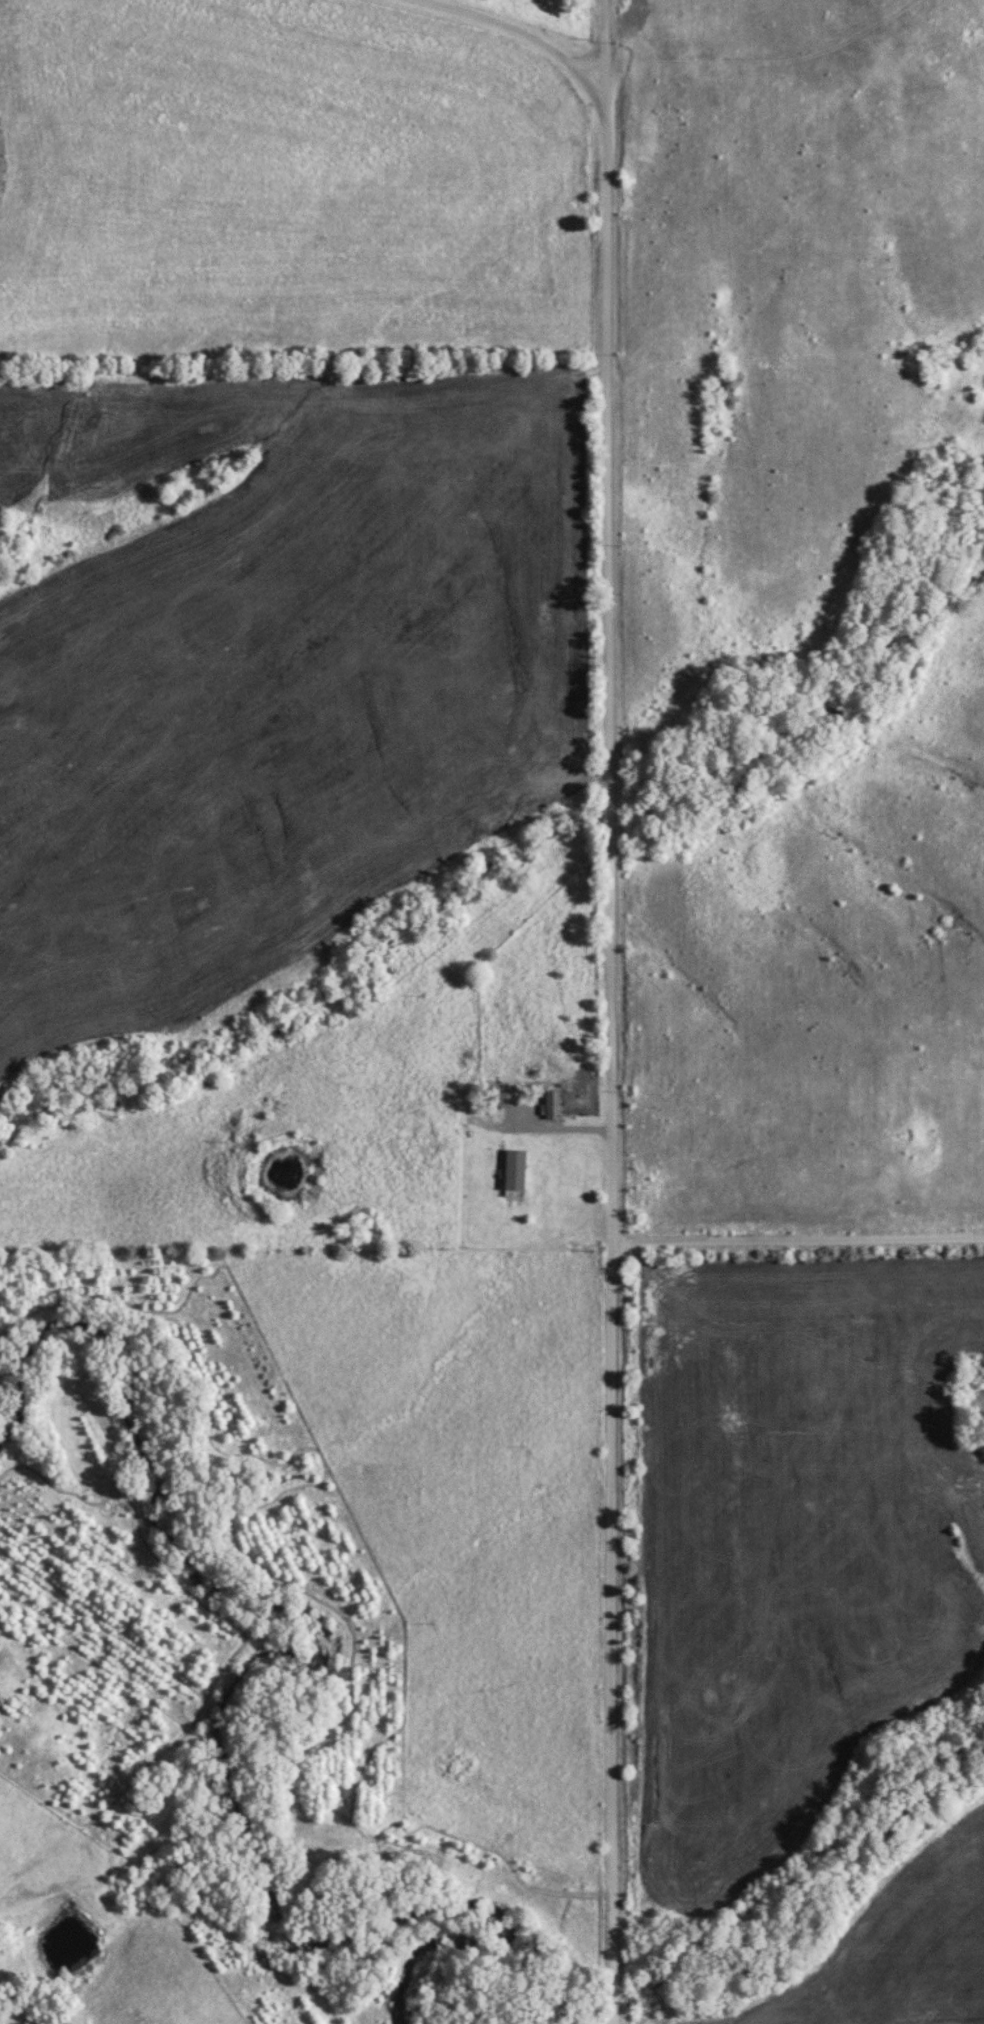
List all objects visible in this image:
road: (603, 51)
road: (610, 575)
building: (497, 1098)
building: (553, 1104)
road: (561, 1126)
building: (516, 1170)
road: (799, 1239)
road: (610, 1633)

